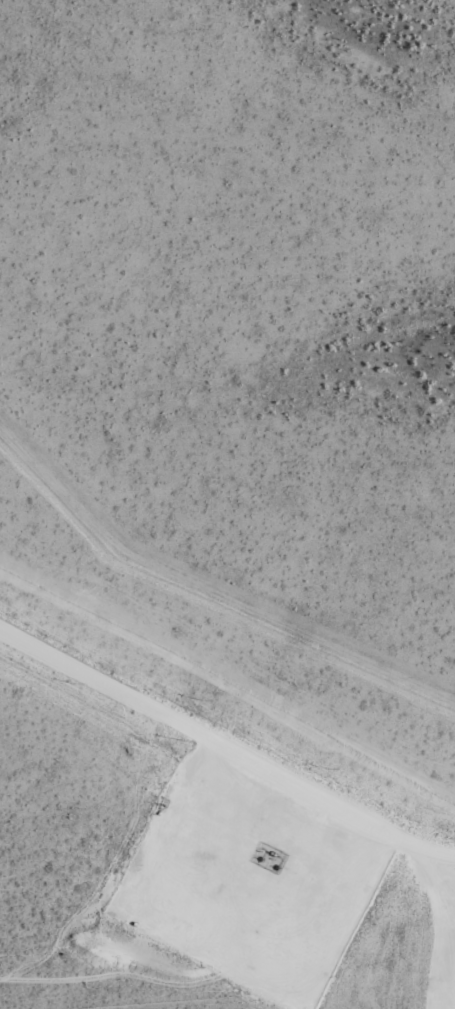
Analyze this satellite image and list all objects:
road: (227, 743)
road: (259, 870)

